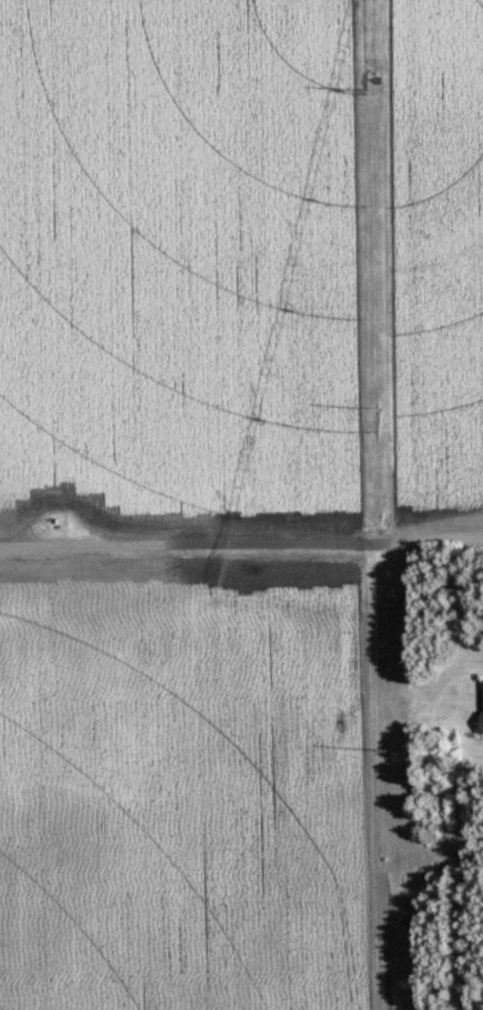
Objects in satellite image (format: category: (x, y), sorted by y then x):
road: (241, 551)

